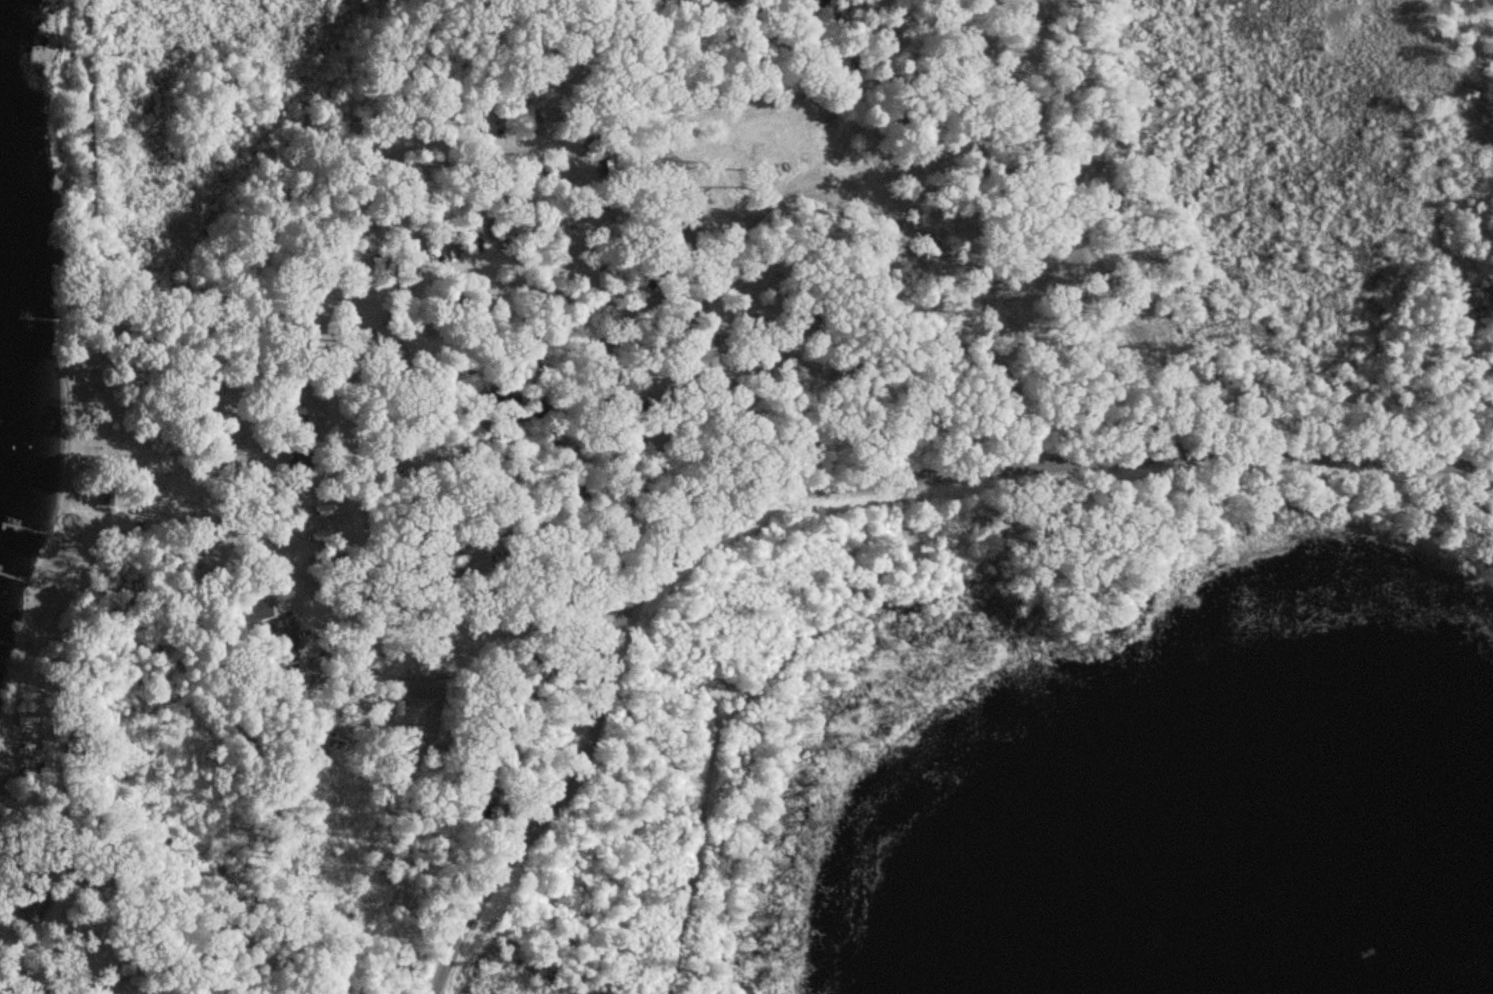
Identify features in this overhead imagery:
road: (1082, 229)
road: (91, 259)
road: (817, 486)
road: (343, 620)
building: (293, 635)

